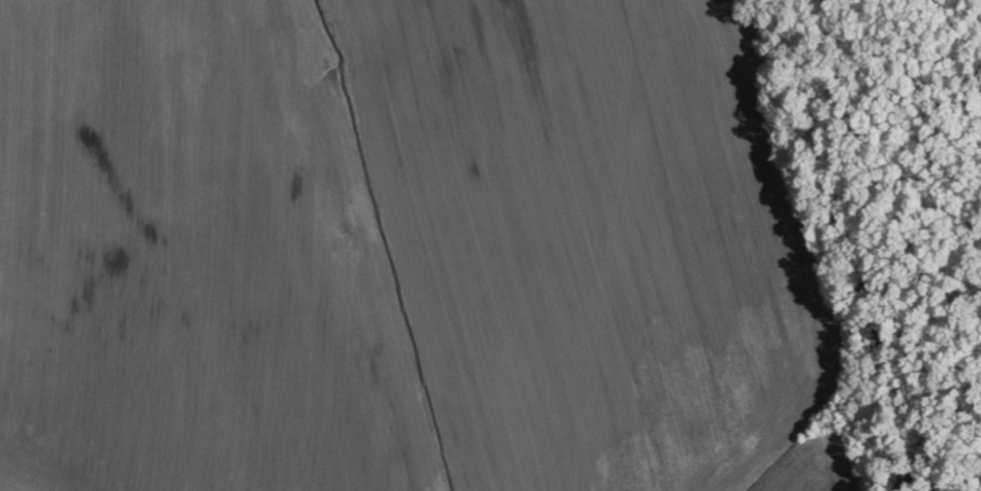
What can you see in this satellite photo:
road: (837, 87)
road: (826, 333)

